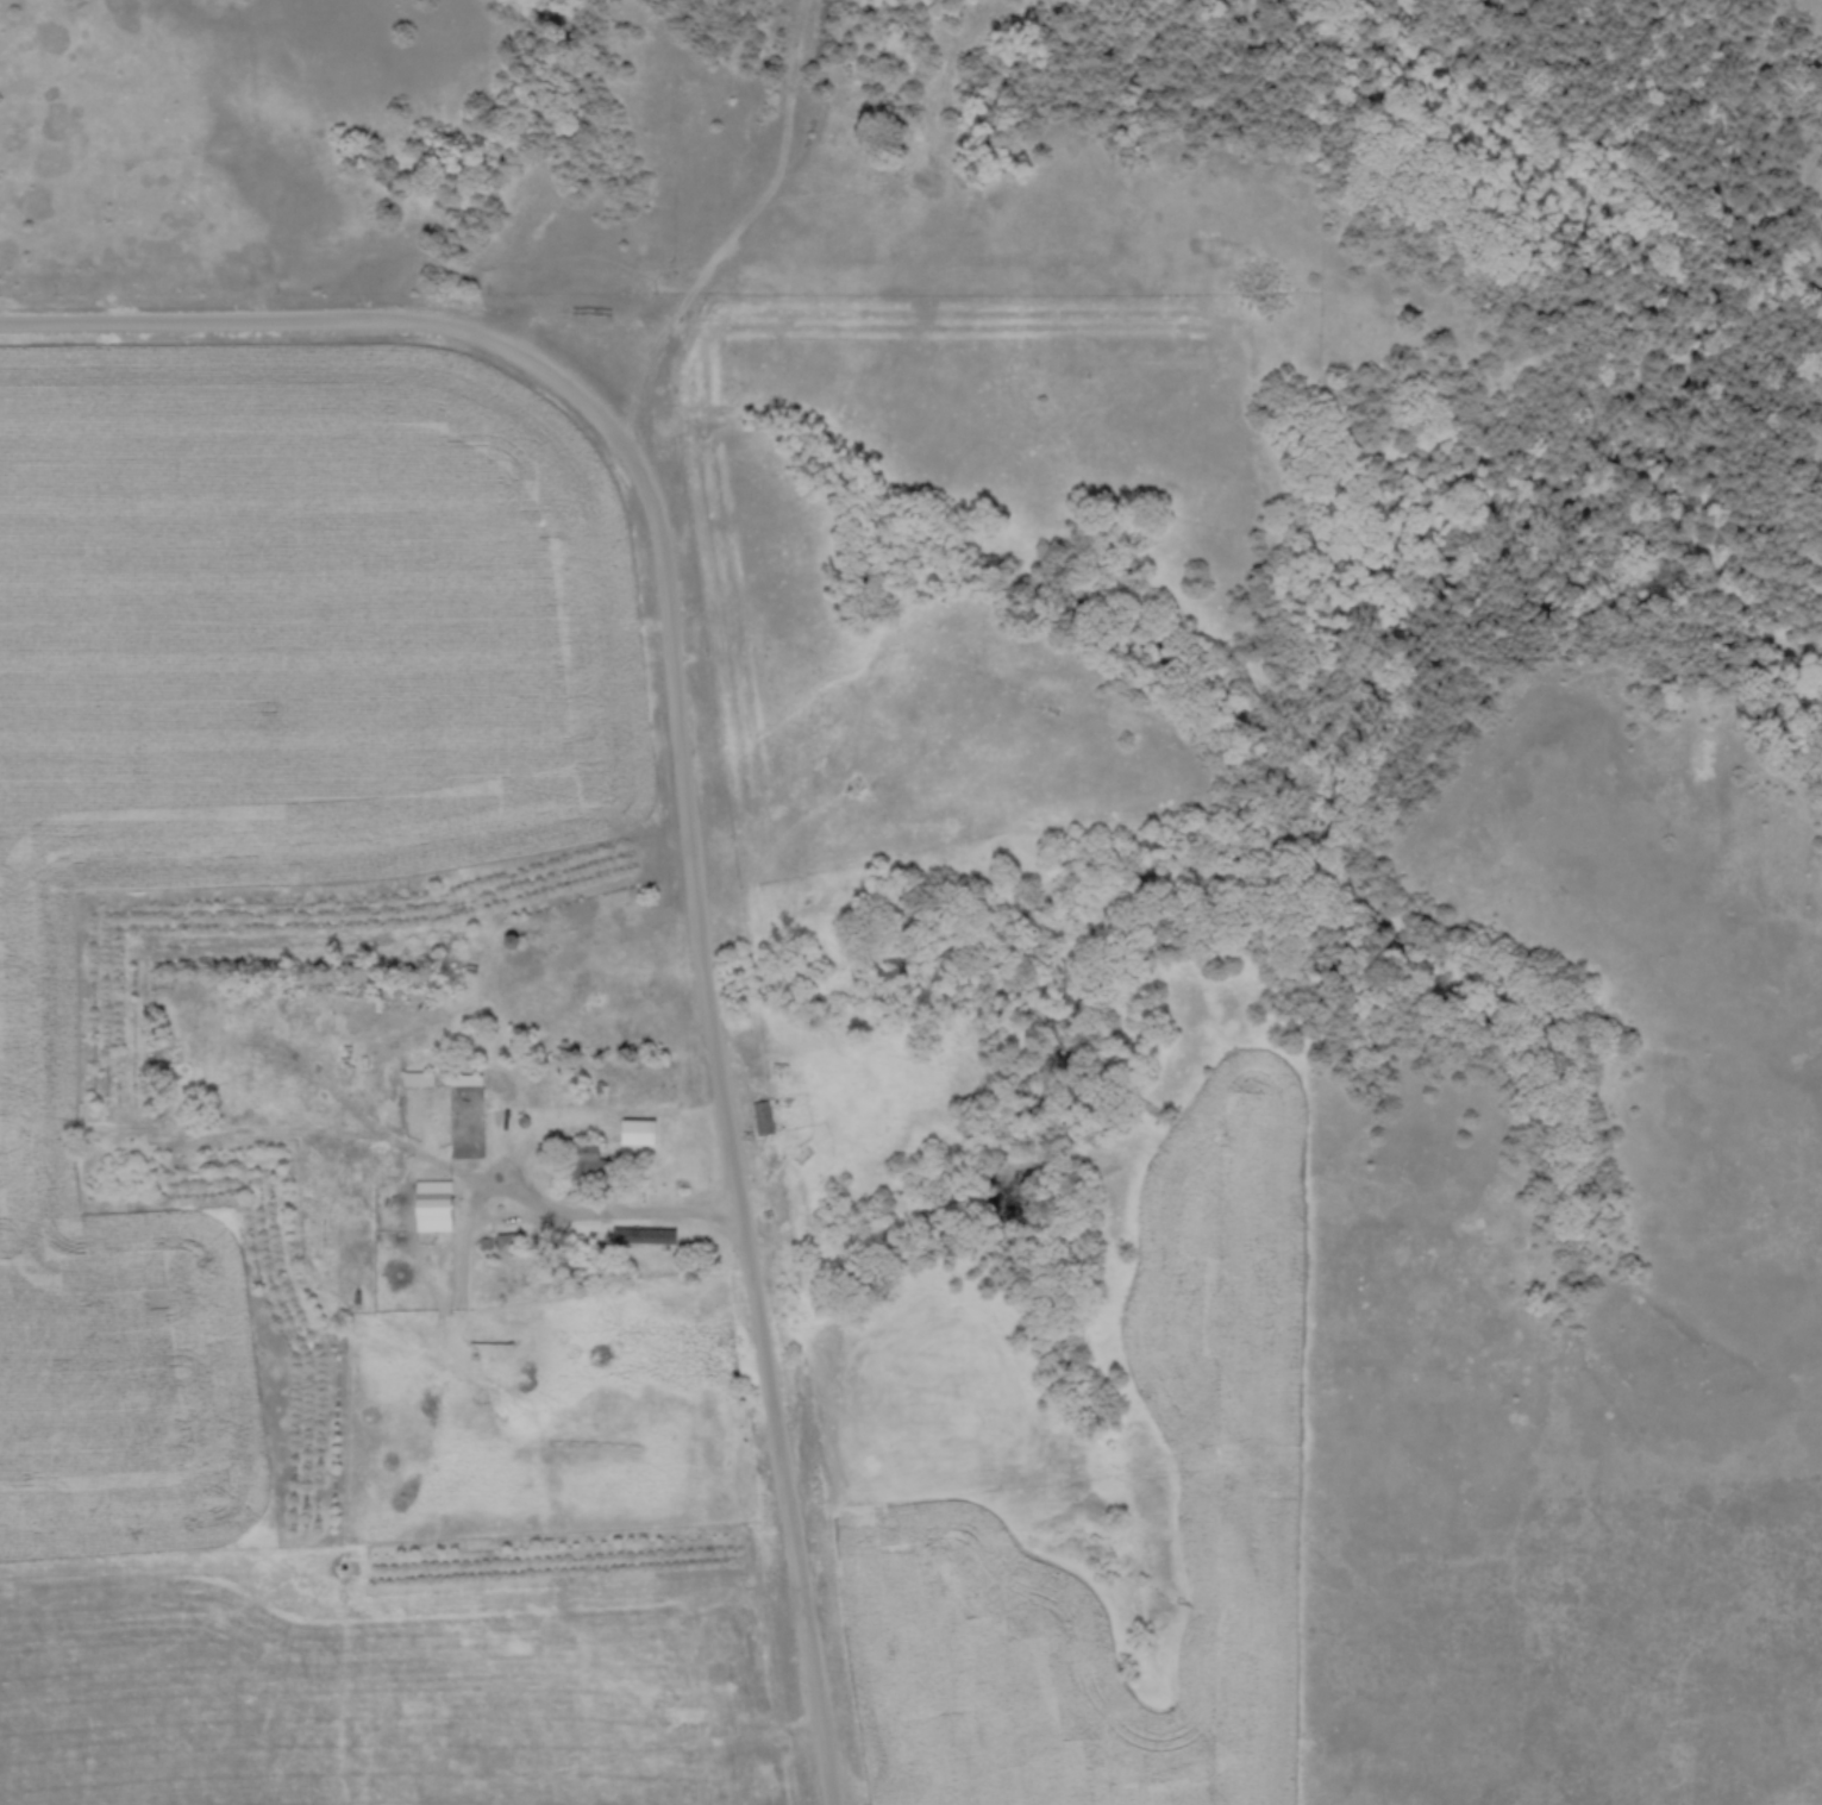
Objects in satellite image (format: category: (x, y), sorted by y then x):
building: (853, 785)
road: (688, 794)
building: (468, 1080)
building: (765, 1118)
building: (632, 1132)
building: (586, 1160)
building: (437, 1207)
road: (613, 1223)
building: (662, 1241)
building: (508, 1243)

